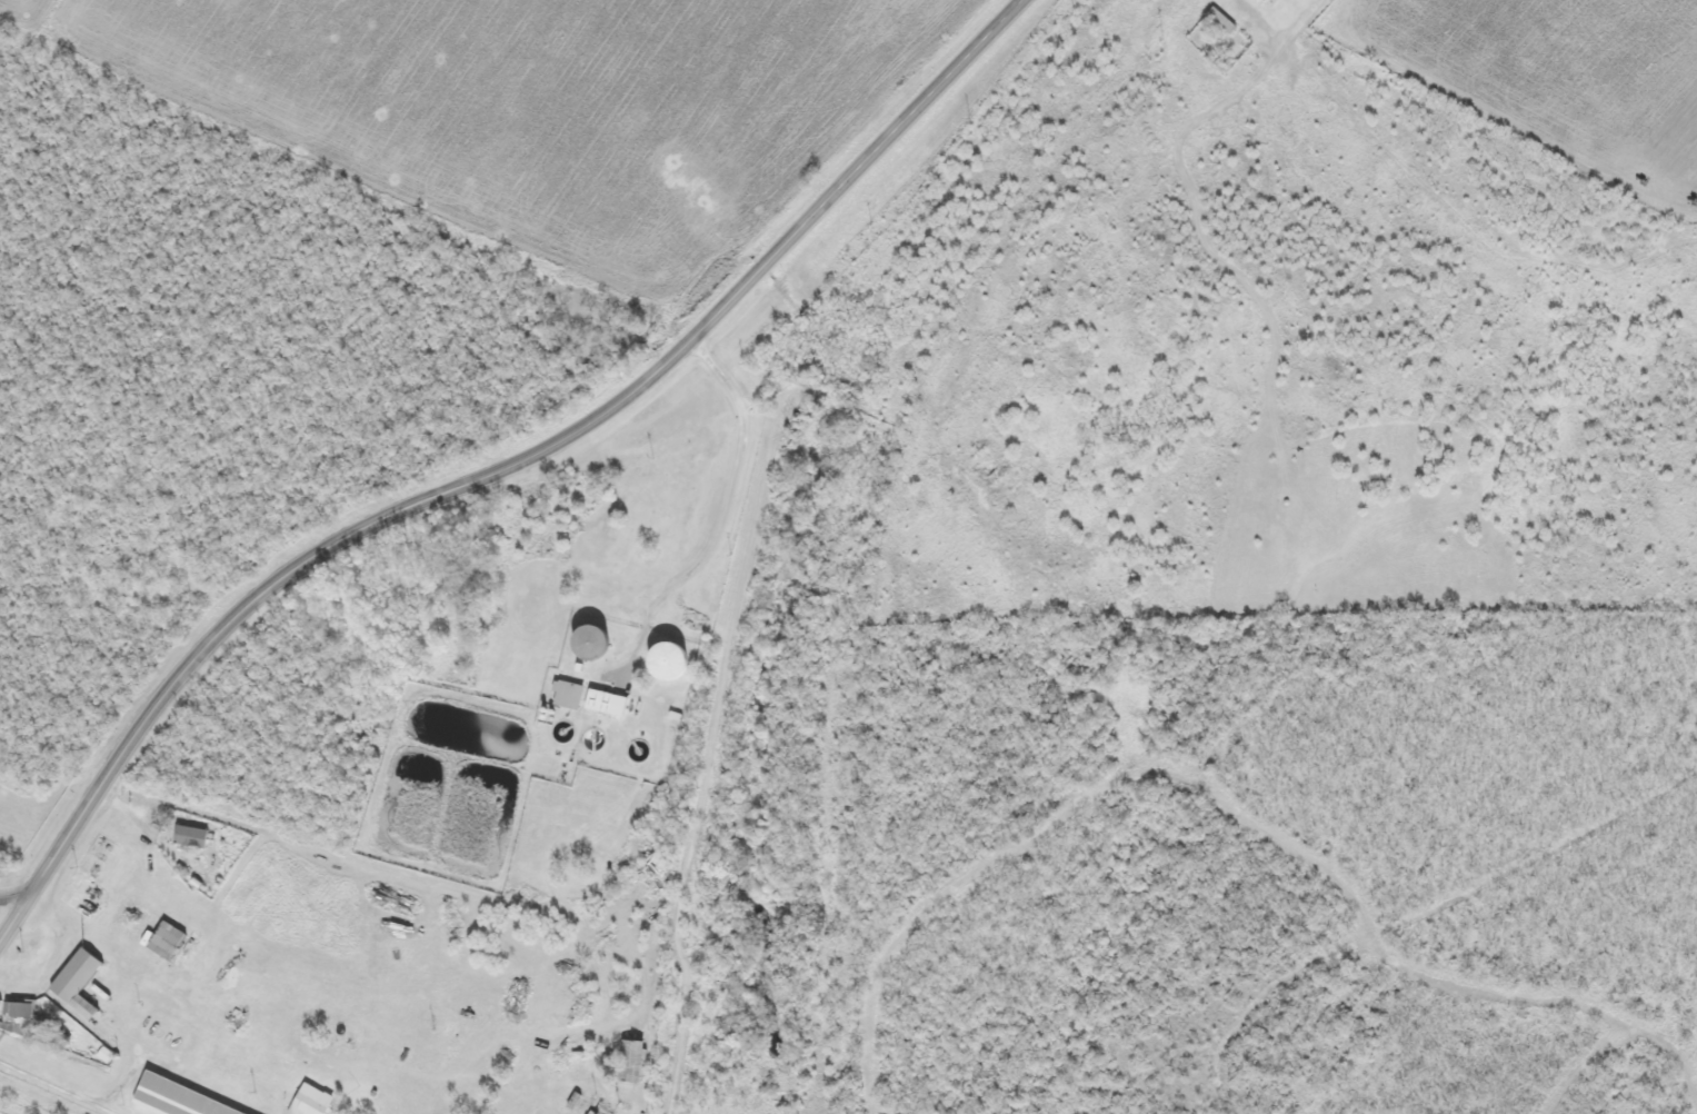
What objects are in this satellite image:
building: (1218, 22)
park: (219, 384)
road: (503, 470)
railway: (808, 508)
building: (587, 645)
building: (665, 663)
building: (565, 696)
building: (603, 704)
building: (189, 837)
building: (89, 882)
road: (1320, 887)
road: (12, 899)
building: (146, 929)
building: (76, 983)
building: (21, 1015)
building: (629, 1061)
road: (61, 1084)
building: (172, 1098)
building: (309, 1101)

